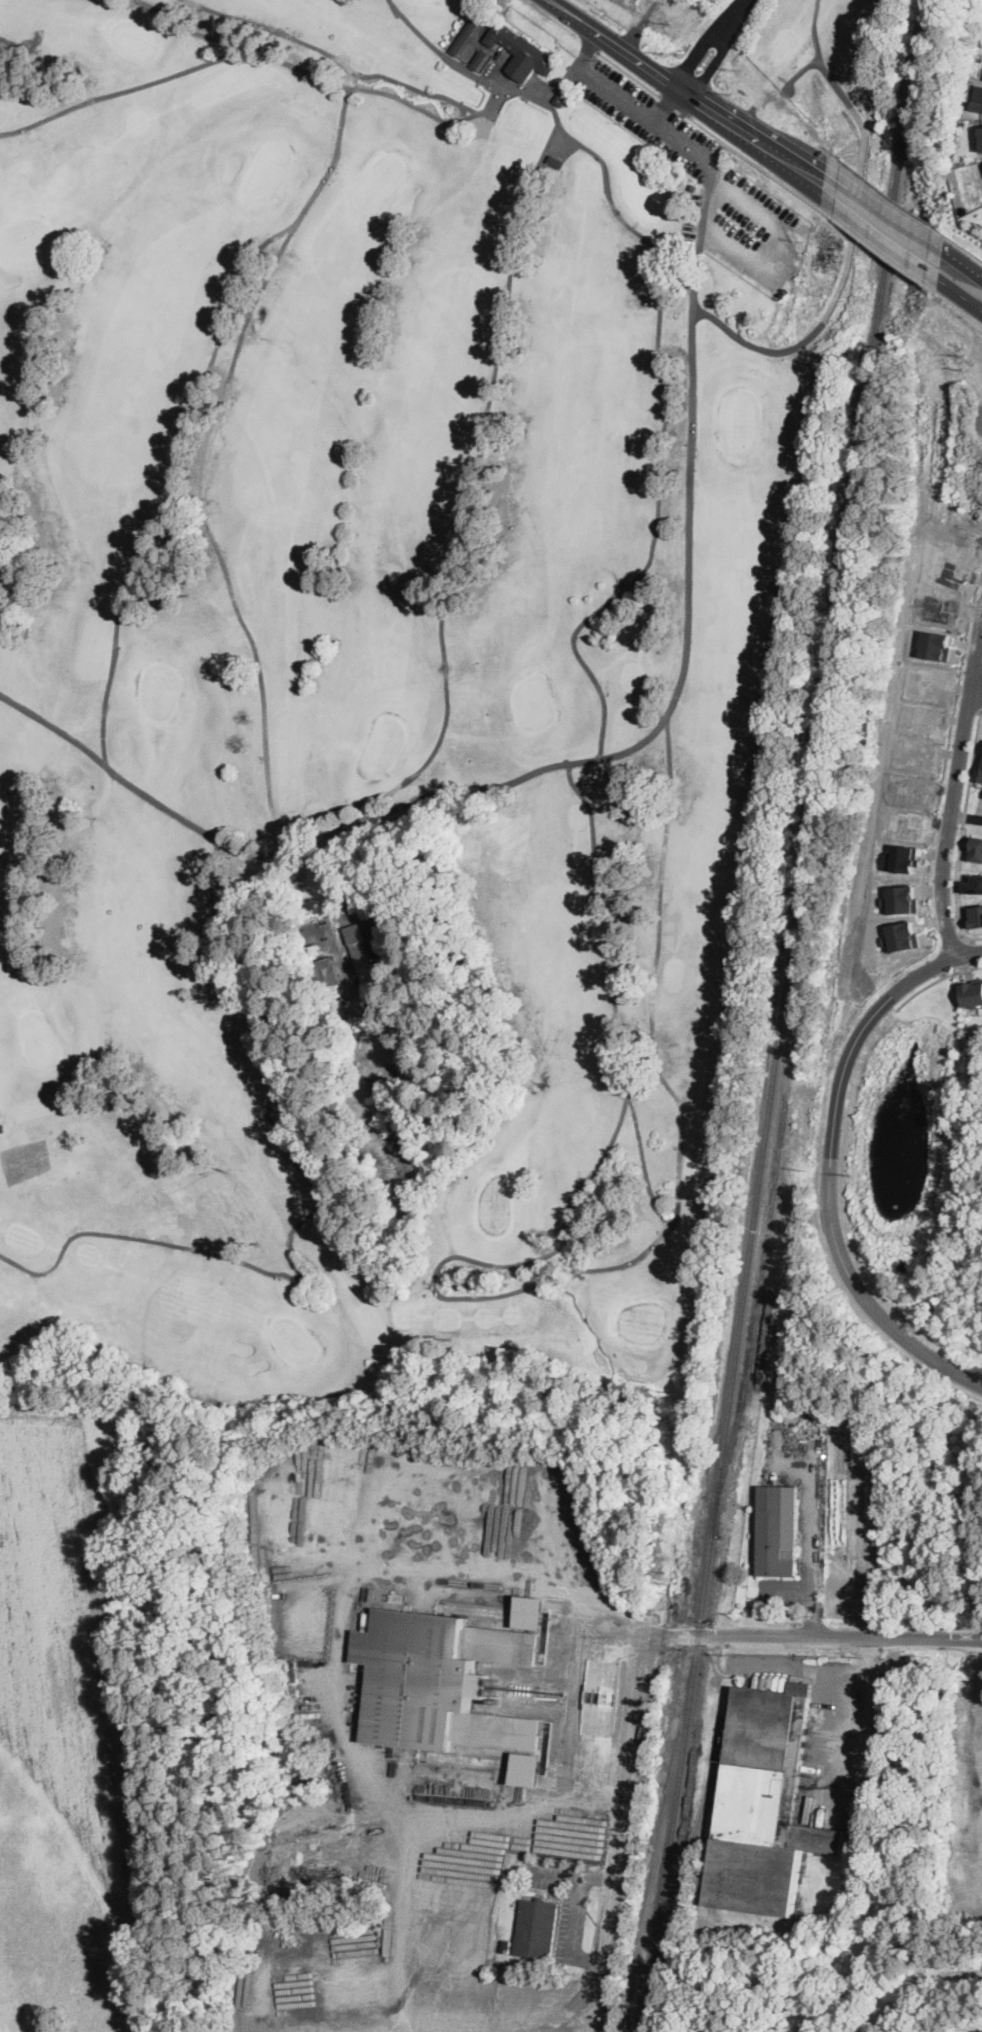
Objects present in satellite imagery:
road: (645, 14)
road: (655, 19)
building: (468, 32)
road: (713, 46)
road: (591, 48)
road: (705, 51)
building: (521, 52)
building: (479, 59)
road: (709, 82)
road: (686, 96)
building: (561, 100)
road: (626, 101)
road: (674, 105)
building: (981, 106)
road: (671, 108)
road: (778, 109)
building: (981, 136)
building: (555, 162)
road: (759, 167)
building: (693, 187)
road: (892, 197)
road: (886, 208)
building: (973, 225)
road: (702, 232)
parking lot: (755, 233)
road: (851, 233)
road: (879, 236)
road: (968, 251)
road: (884, 253)
road: (964, 264)
road: (960, 294)
road: (959, 308)
road: (952, 476)
park: (401, 669)
road: (678, 686)
road: (975, 689)
road: (944, 756)
building: (981, 776)
road: (954, 779)
road: (965, 817)
road: (961, 831)
building: (974, 847)
building: (973, 882)
building: (974, 914)
road: (953, 941)
road: (967, 952)
building: (363, 963)
road: (906, 966)
building: (327, 973)
building: (389, 978)
road: (936, 982)
building: (972, 992)
railway: (781, 1014)
building: (2, 1128)
building: (727, 1131)
road: (827, 1177)
railway: (756, 1314)
building: (777, 1530)
road: (811, 1535)
road: (785, 1583)
road: (349, 1597)
building: (529, 1612)
road: (611, 1640)
road: (866, 1655)
road: (643, 1669)
road: (772, 1669)
building: (440, 1682)
road: (981, 1702)
crop: (81, 1711)
road: (847, 1726)
building: (526, 1769)
building: (765, 1806)
railway: (692, 1838)
building: (283, 1925)
building: (537, 1929)
building: (507, 1946)

